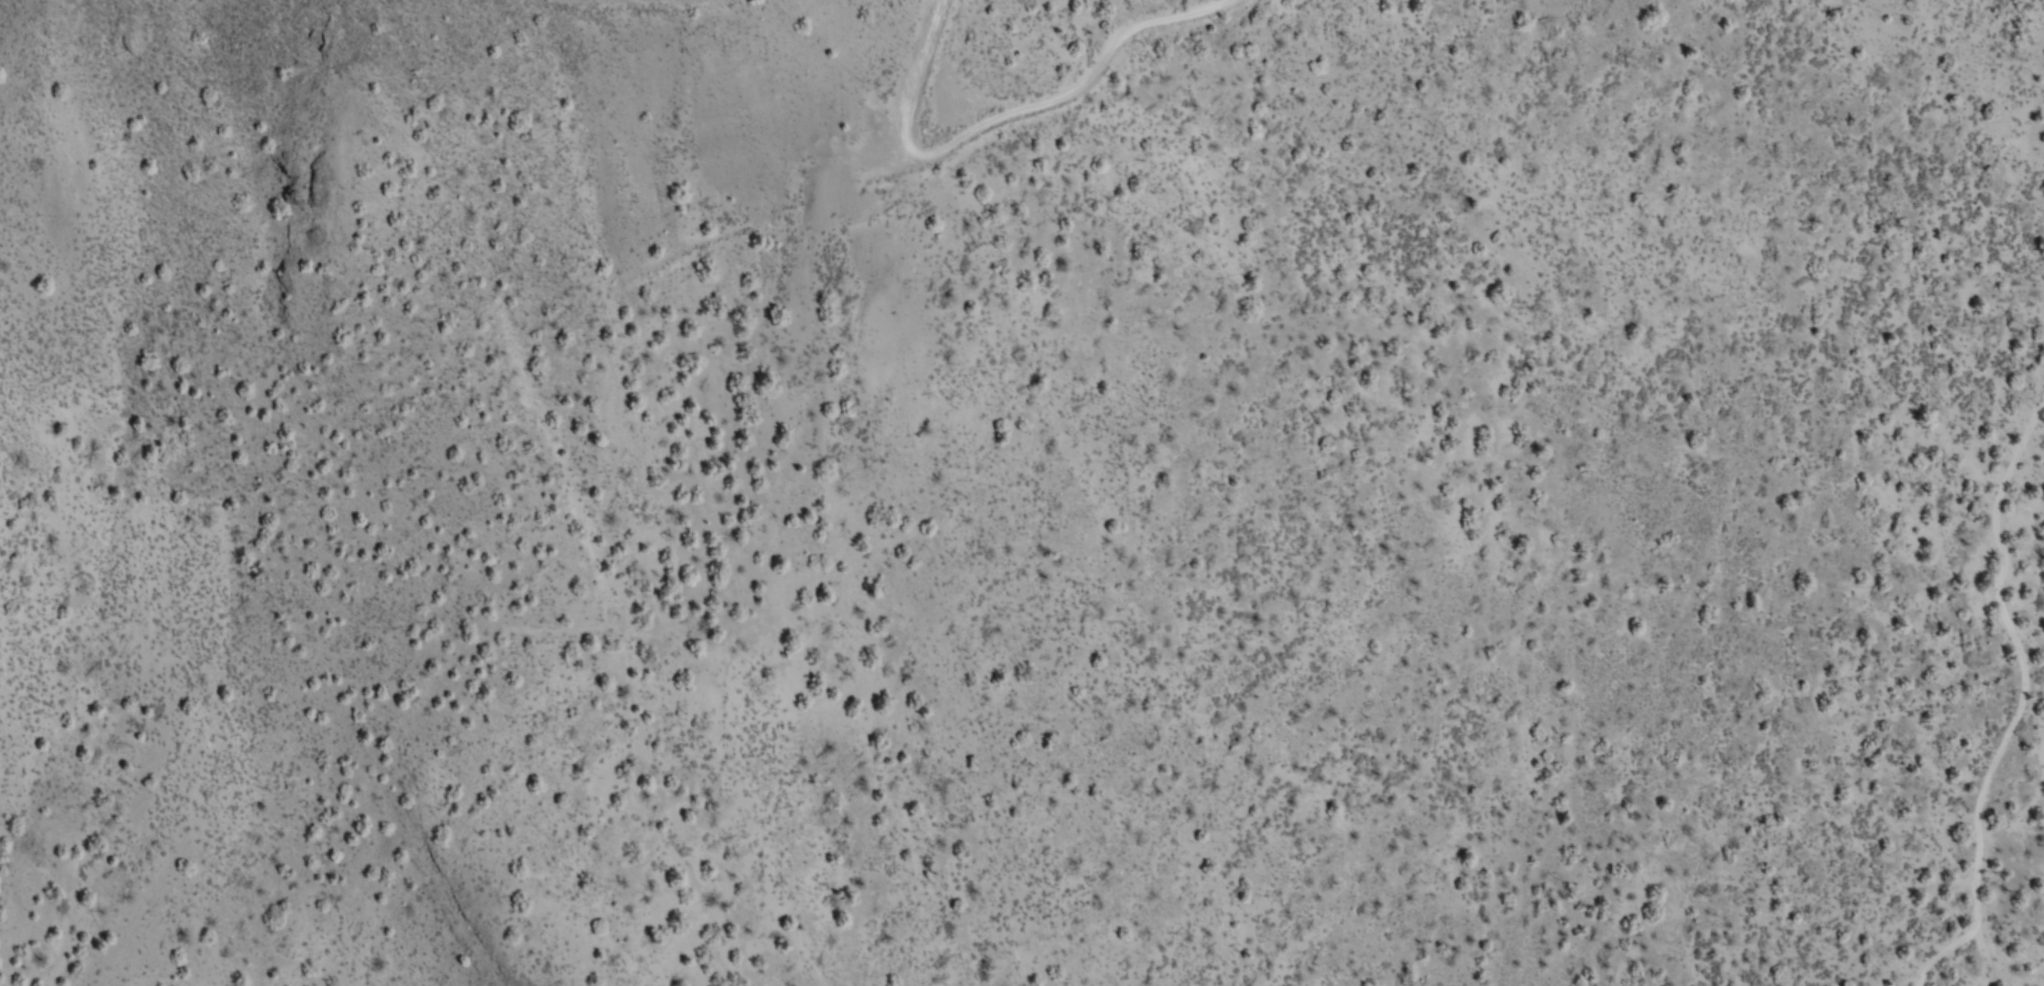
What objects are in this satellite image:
road: (1015, 113)

